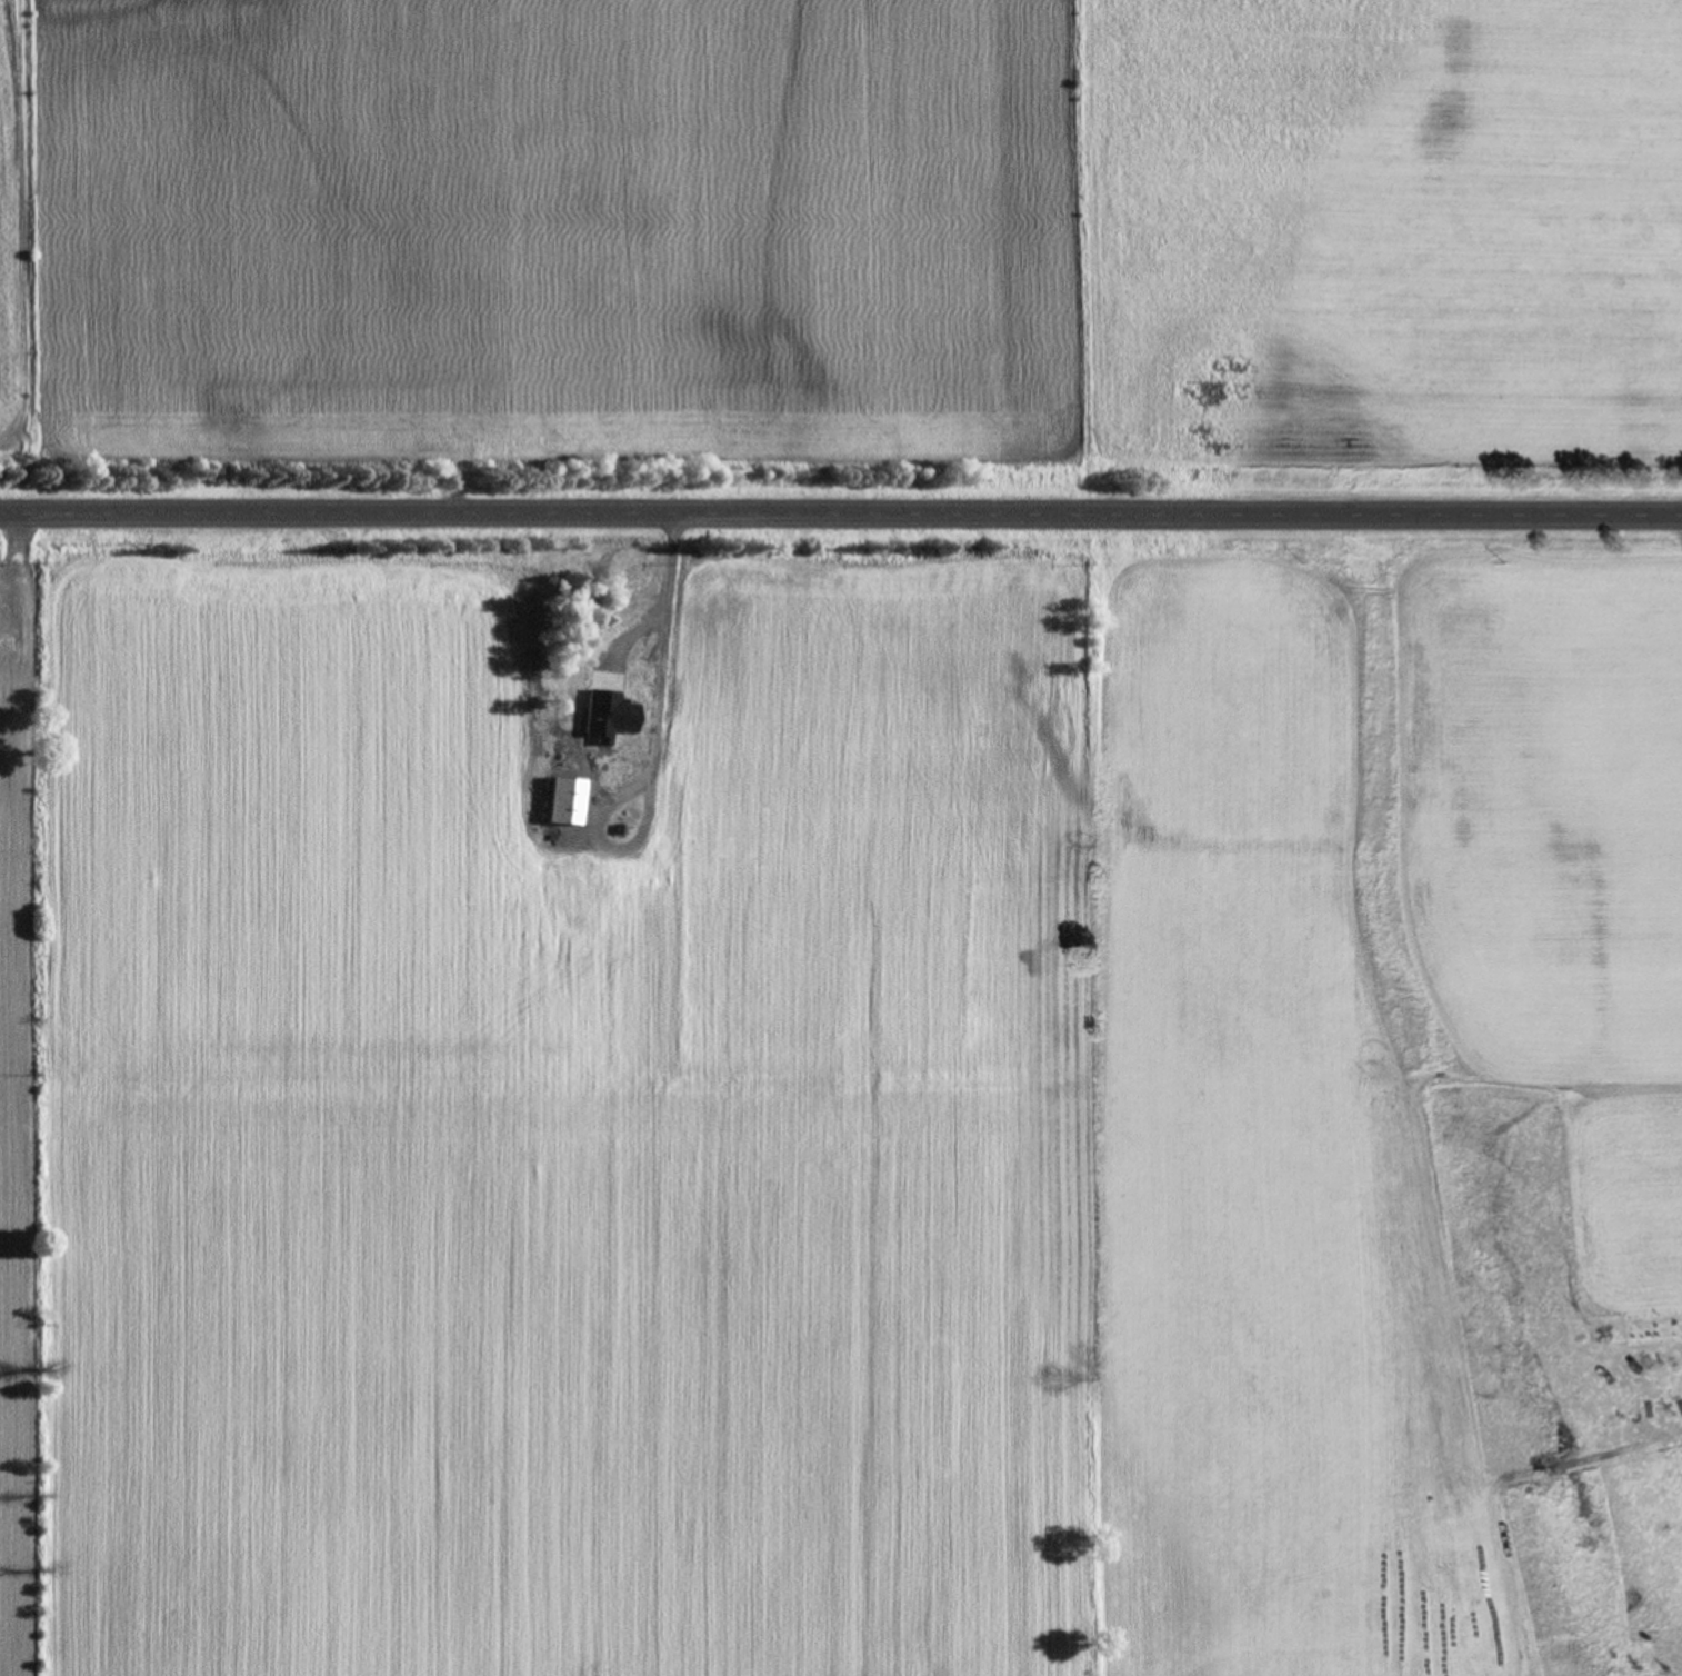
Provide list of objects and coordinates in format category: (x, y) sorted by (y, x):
road: (841, 519)
building: (563, 804)

